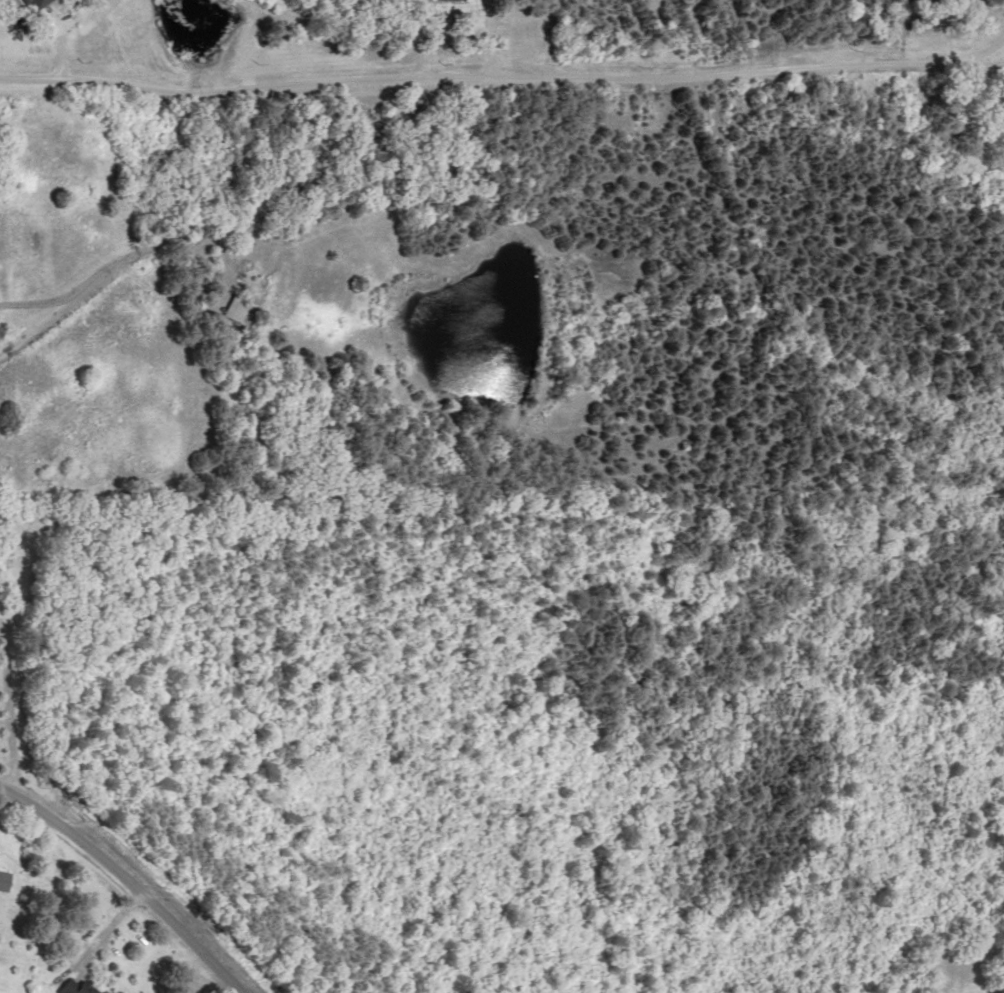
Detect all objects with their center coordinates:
road: (495, 42)
road: (503, 84)
road: (112, 267)
building: (243, 310)
road: (136, 874)
building: (6, 881)
building: (74, 987)

